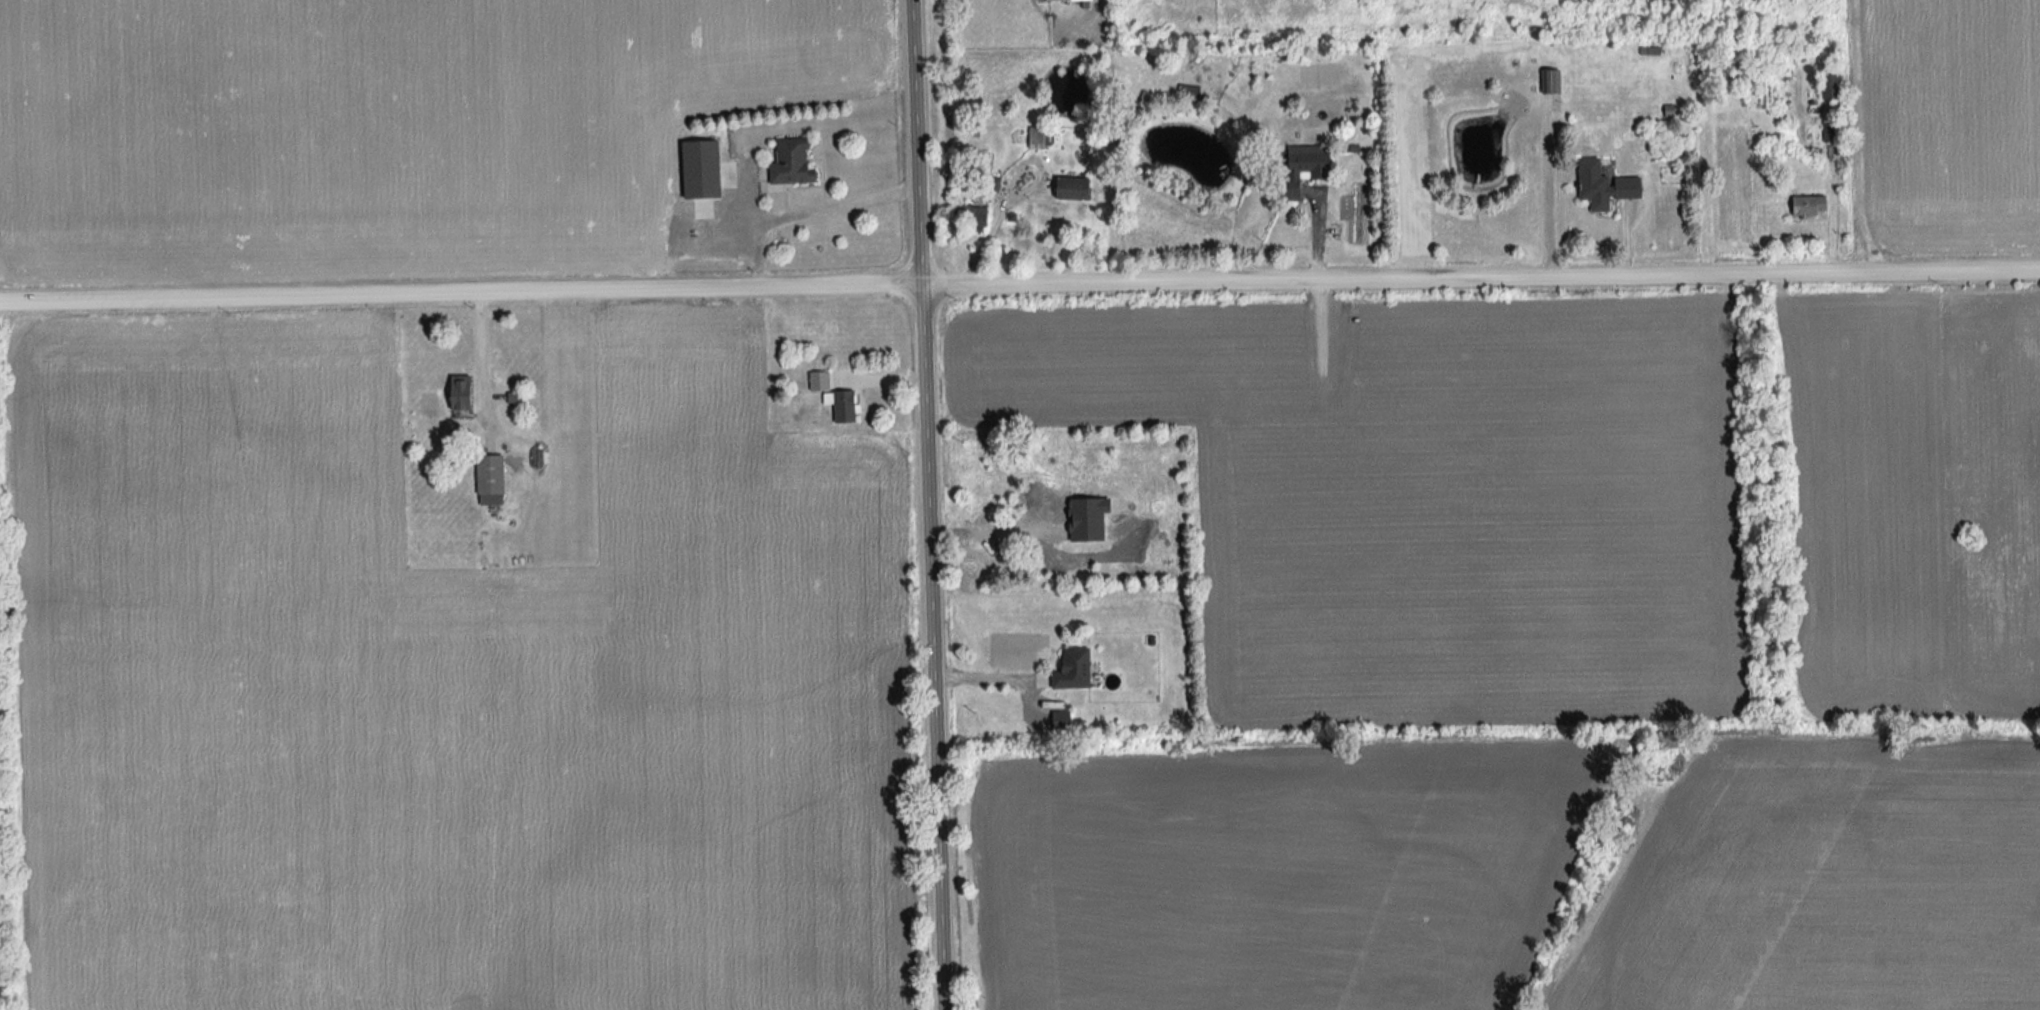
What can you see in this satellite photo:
building: (1072, 0)
building: (1824, 84)
crop: (1949, 125)
crop: (381, 129)
building: (1040, 137)
building: (1317, 161)
building: (797, 165)
building: (707, 168)
building: (1610, 185)
building: (1080, 187)
building: (1804, 207)
road: (1320, 235)
road: (1019, 283)
road: (480, 357)
building: (853, 389)
building: (466, 392)
building: (495, 479)
road: (934, 504)
road: (998, 527)
road: (986, 680)
crop: (450, 688)
crop: (1267, 874)
crop: (1823, 880)

